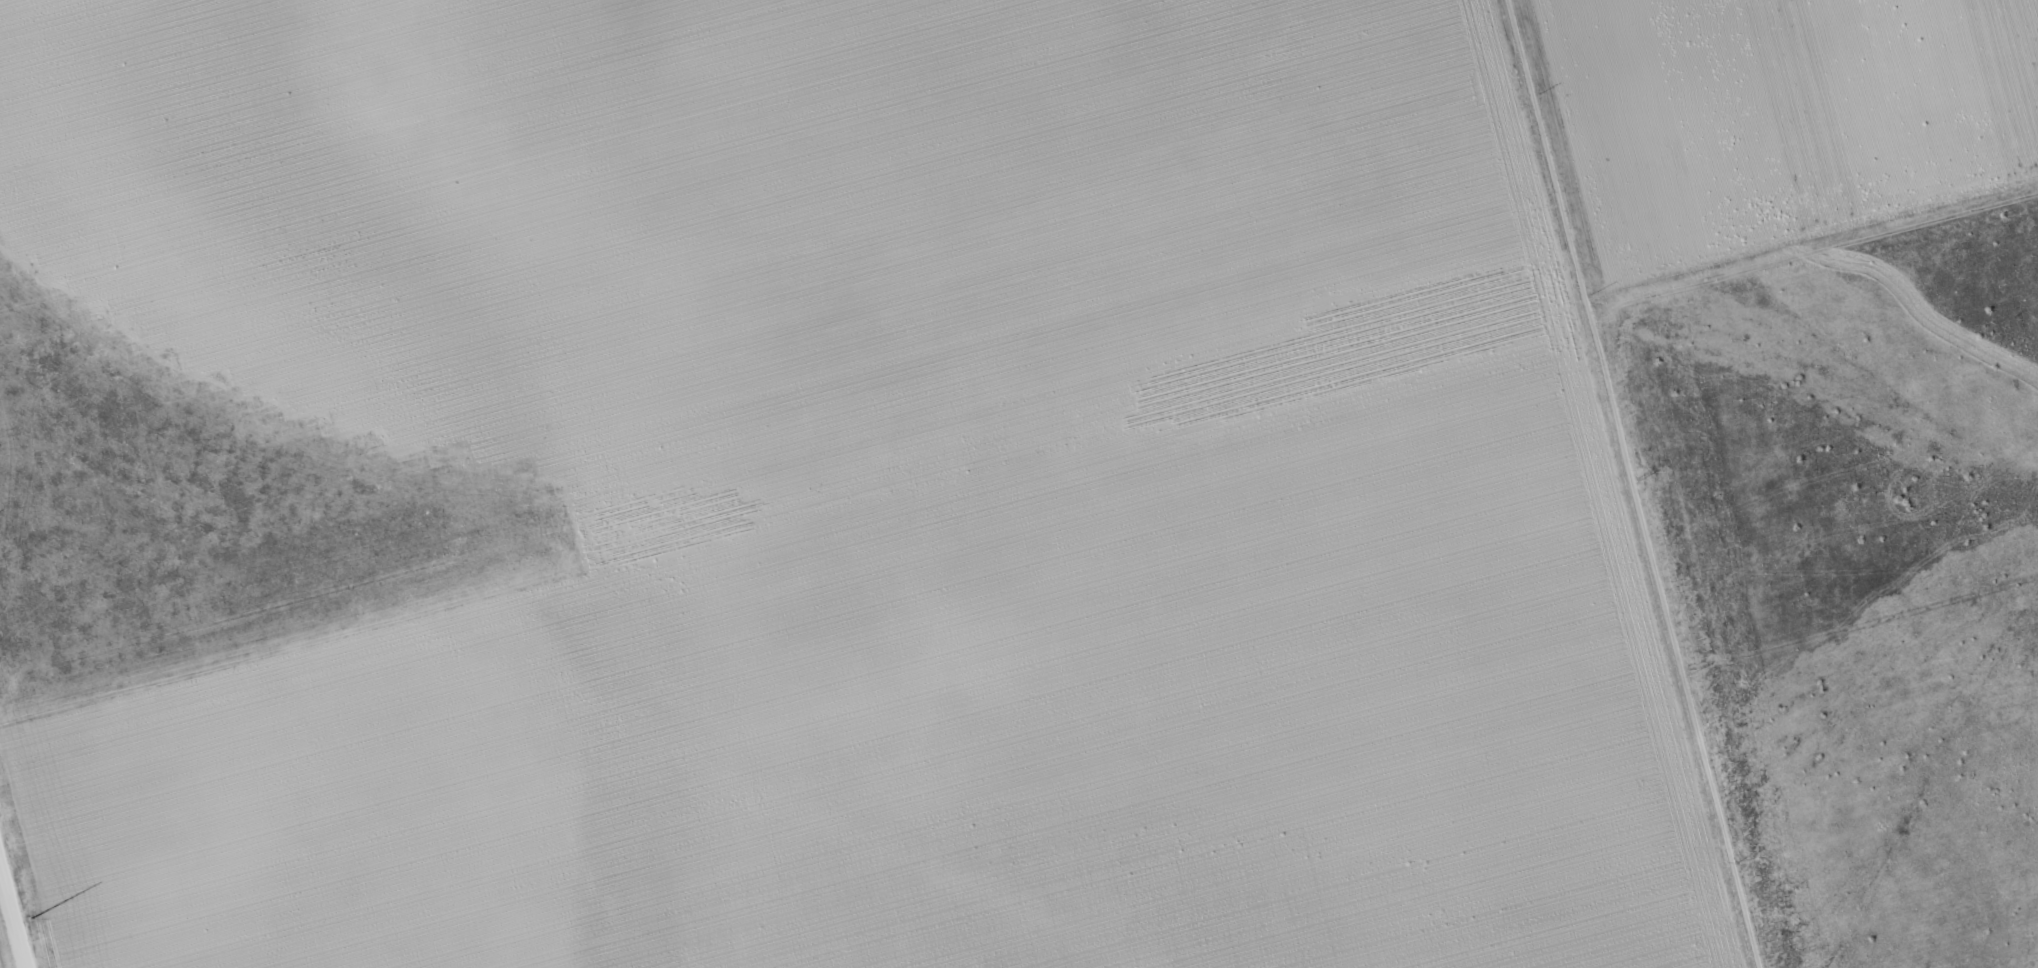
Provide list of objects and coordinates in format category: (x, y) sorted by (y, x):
road: (12, 920)

